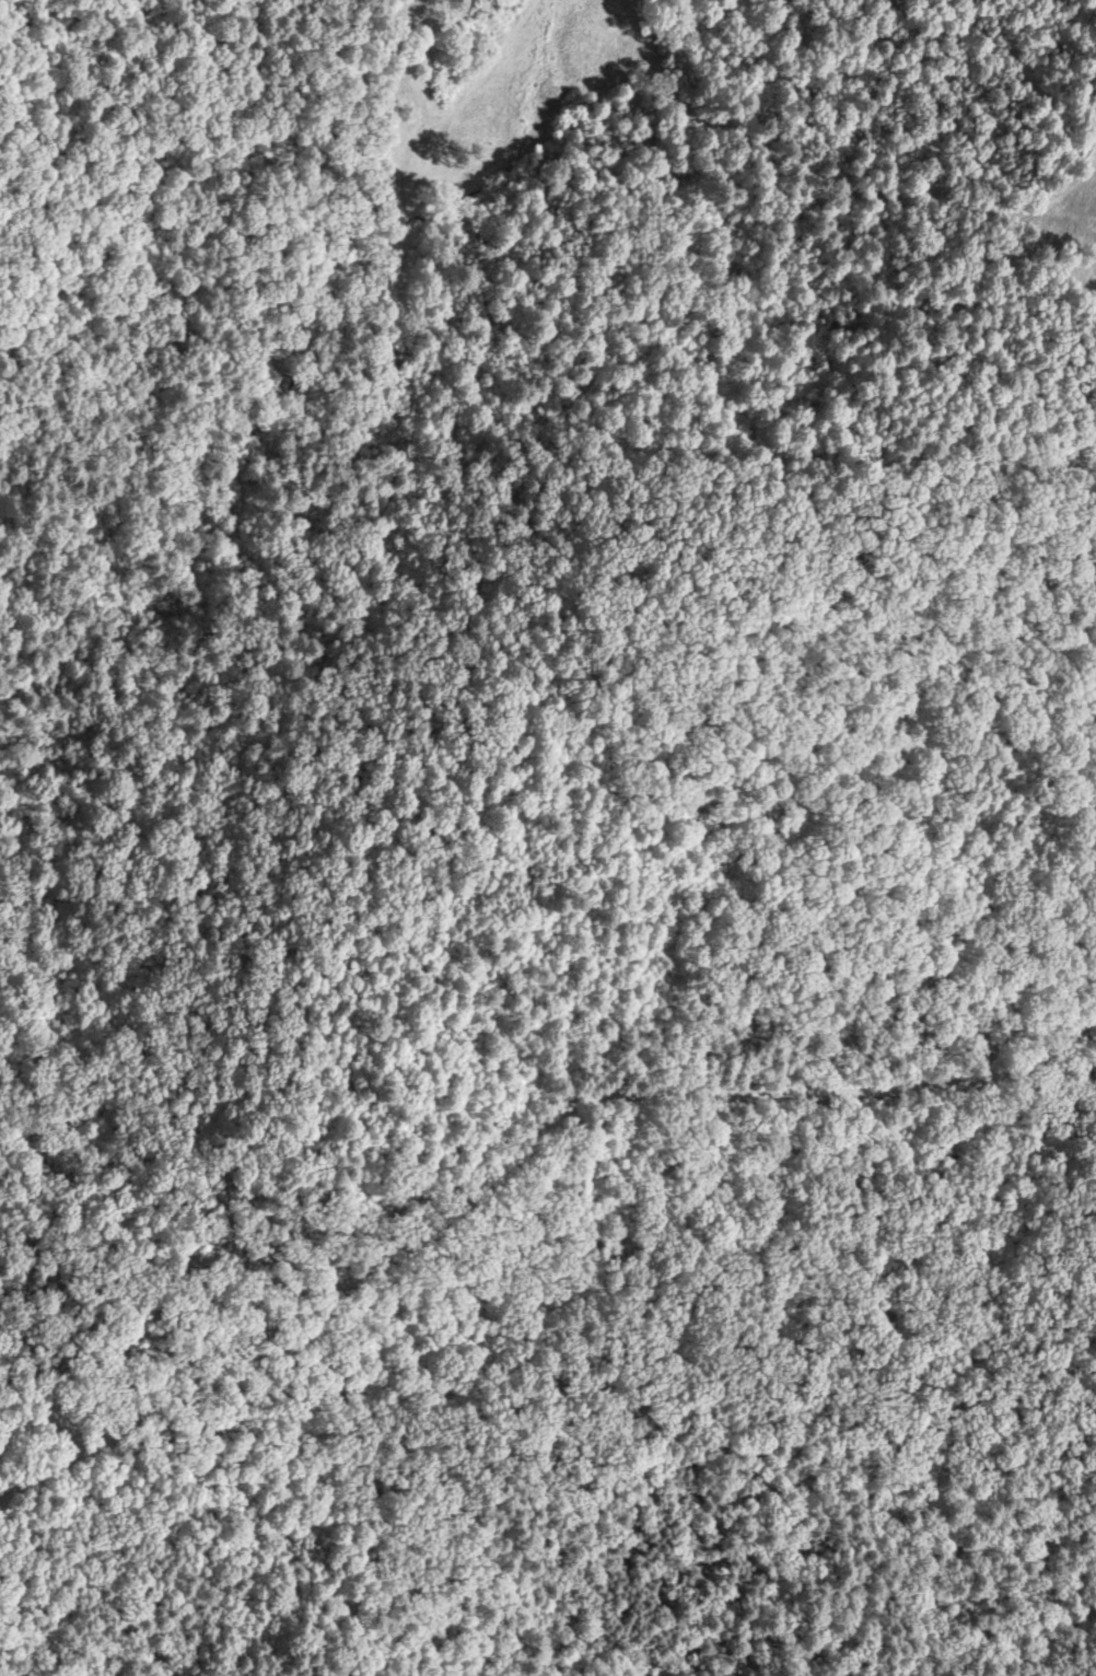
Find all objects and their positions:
road: (515, 1153)

